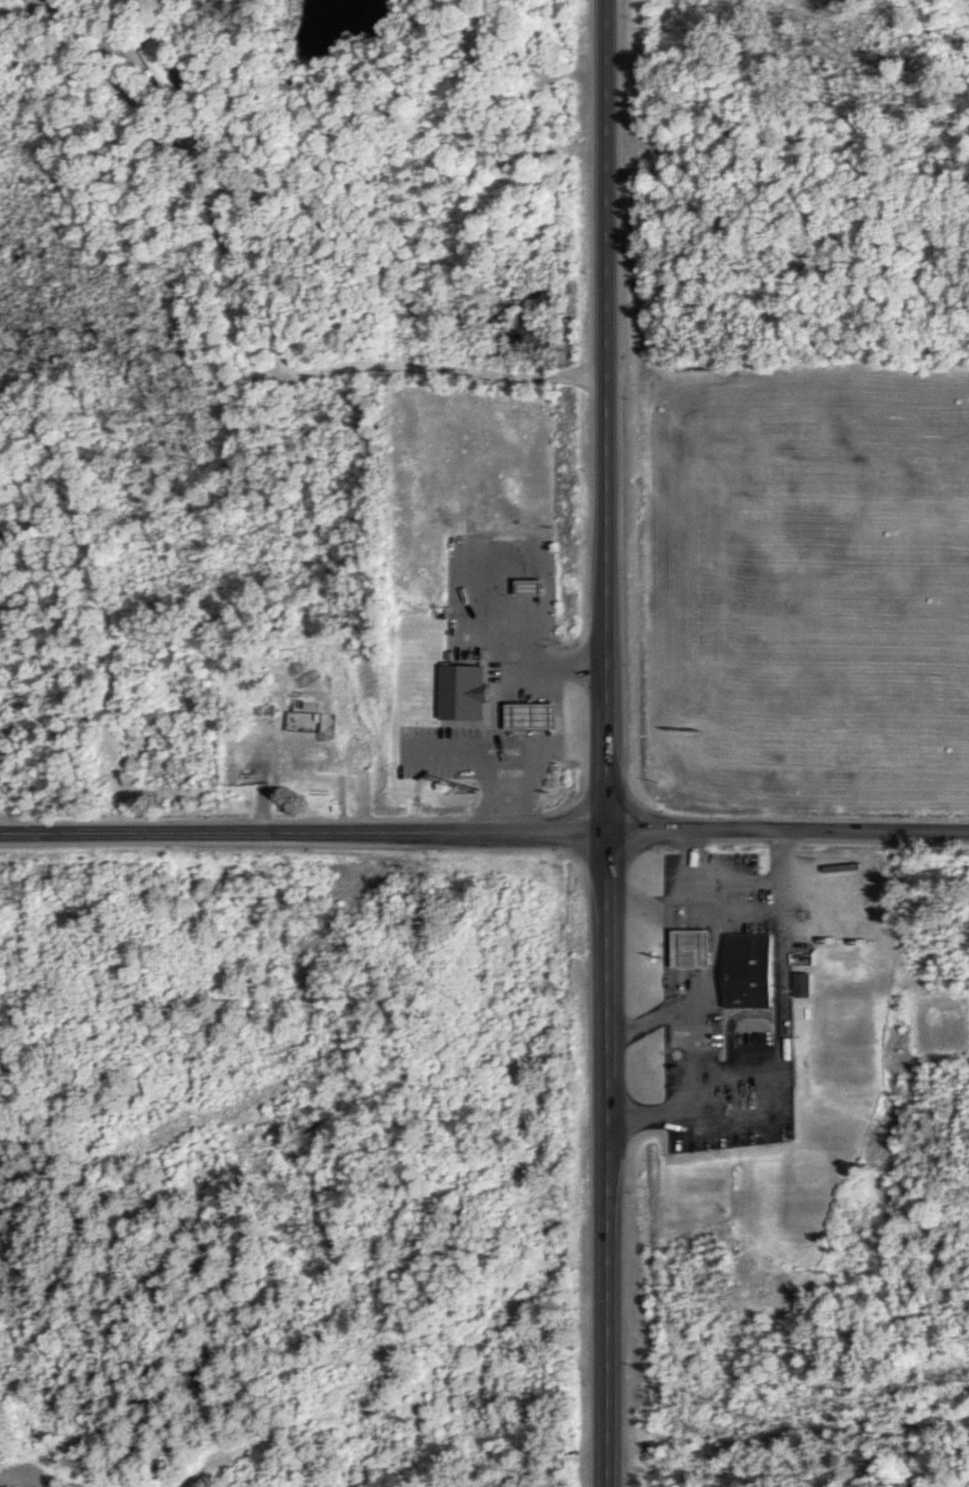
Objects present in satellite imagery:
building: (156, 63)
road: (606, 415)
building: (525, 587)
building: (460, 691)
building: (527, 715)
building: (81, 718)
building: (360, 754)
building: (318, 759)
road: (484, 831)
road: (690, 873)
road: (725, 912)
building: (688, 950)
building: (746, 969)
building: (800, 984)
road: (683, 1054)
road: (609, 1158)

